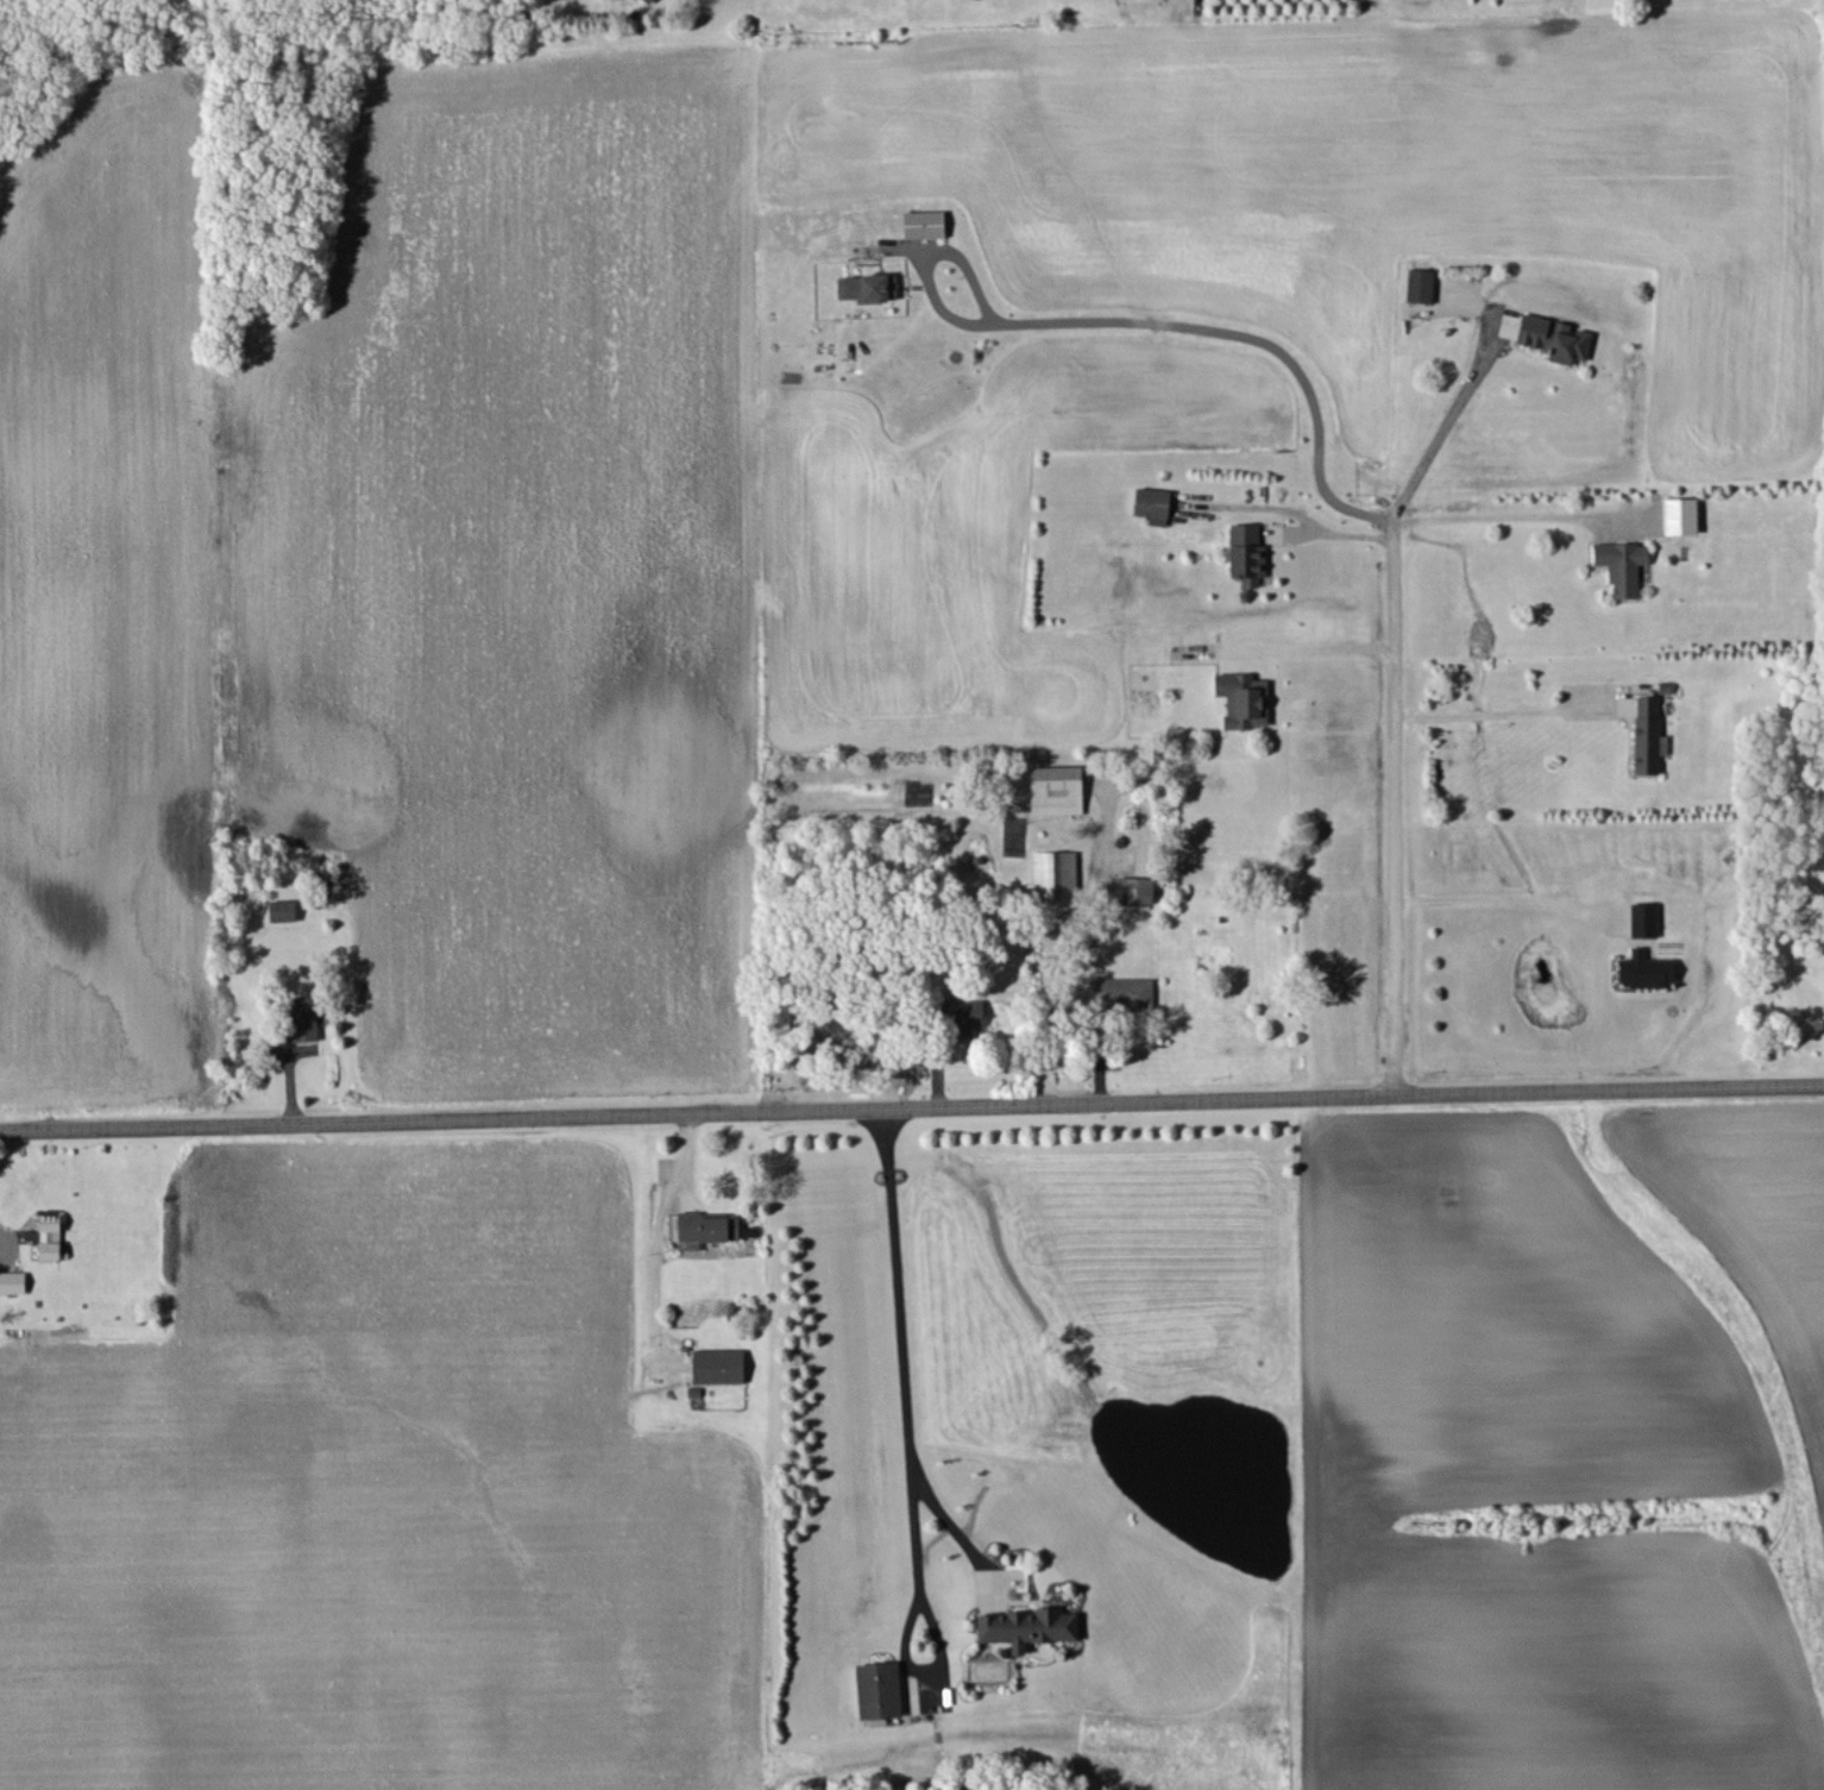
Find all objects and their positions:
building: (647, 1)
building: (923, 224)
building: (1419, 285)
building: (867, 287)
road: (1229, 333)
building: (1553, 338)
road: (1434, 442)
building: (1152, 504)
building: (1679, 515)
road: (1487, 516)
road: (1334, 534)
building: (1246, 553)
building: (1621, 565)
road: (1317, 647)
building: (1243, 699)
road: (1492, 714)
building: (1646, 734)
building: (1056, 790)
road: (1395, 805)
building: (1053, 873)
building: (1136, 890)
road: (1490, 899)
building: (282, 910)
building: (1643, 919)
building: (1646, 969)
road: (1042, 974)
building: (1121, 992)
building: (963, 1016)
building: (303, 1018)
road: (911, 1105)
building: (705, 1226)
building: (49, 1236)
building: (12, 1281)
road: (900, 1326)
building: (718, 1365)
building: (1027, 1626)
building: (878, 1690)

